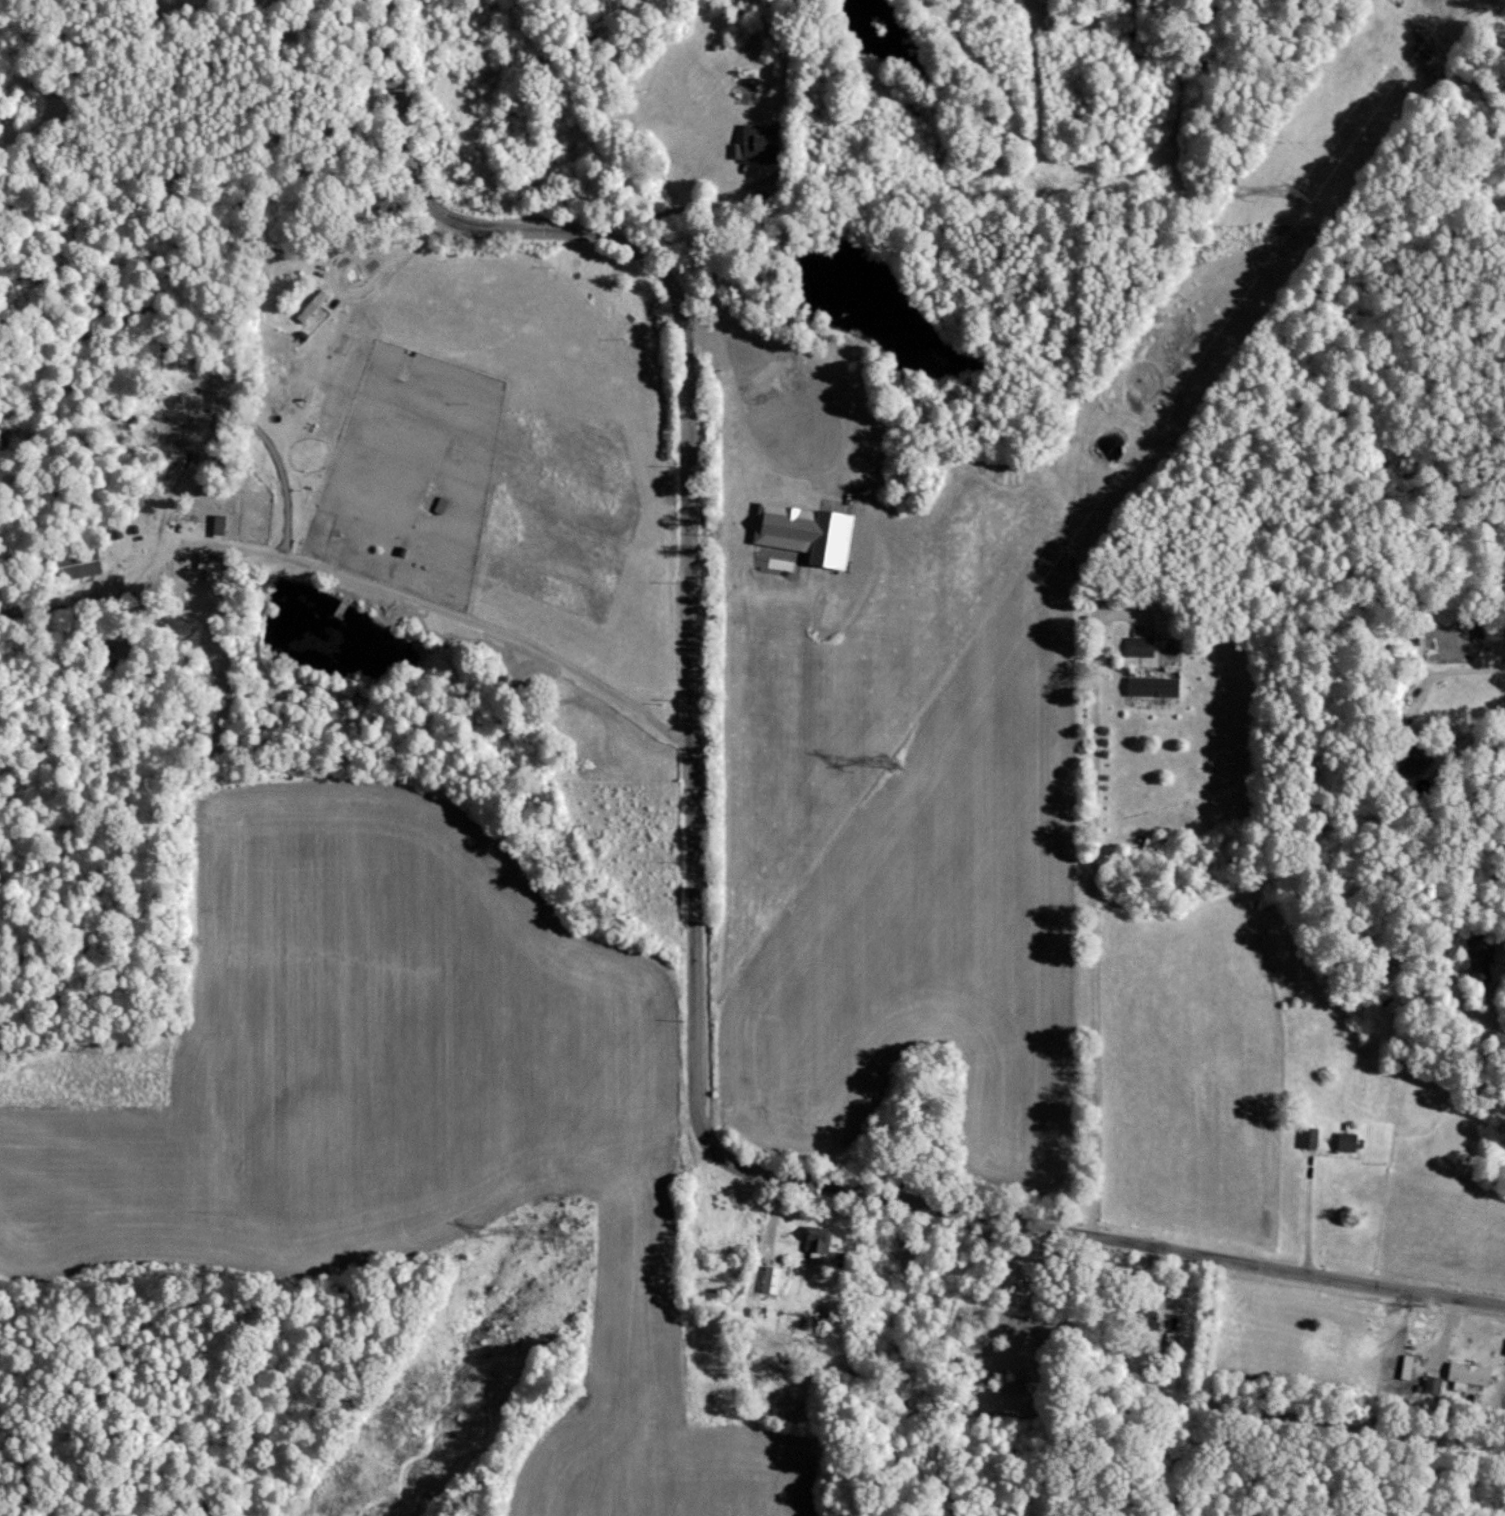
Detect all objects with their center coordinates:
building: (759, 145)
power tower: (1288, 193)
road: (691, 204)
road: (365, 301)
building: (314, 305)
road: (825, 467)
building: (219, 524)
building: (808, 532)
building: (210, 568)
road: (348, 584)
building: (1138, 645)
road: (1453, 667)
building: (1150, 685)
power tower: (884, 762)
road: (691, 879)
road: (1094, 893)
road: (1497, 1024)
building: (1306, 1137)
building: (1345, 1141)
road: (1308, 1212)
power tower: (559, 1233)
building: (818, 1239)
building: (1021, 1276)
building: (772, 1279)
road: (1447, 1334)
building: (1403, 1366)
building: (1465, 1372)
building: (1430, 1384)

